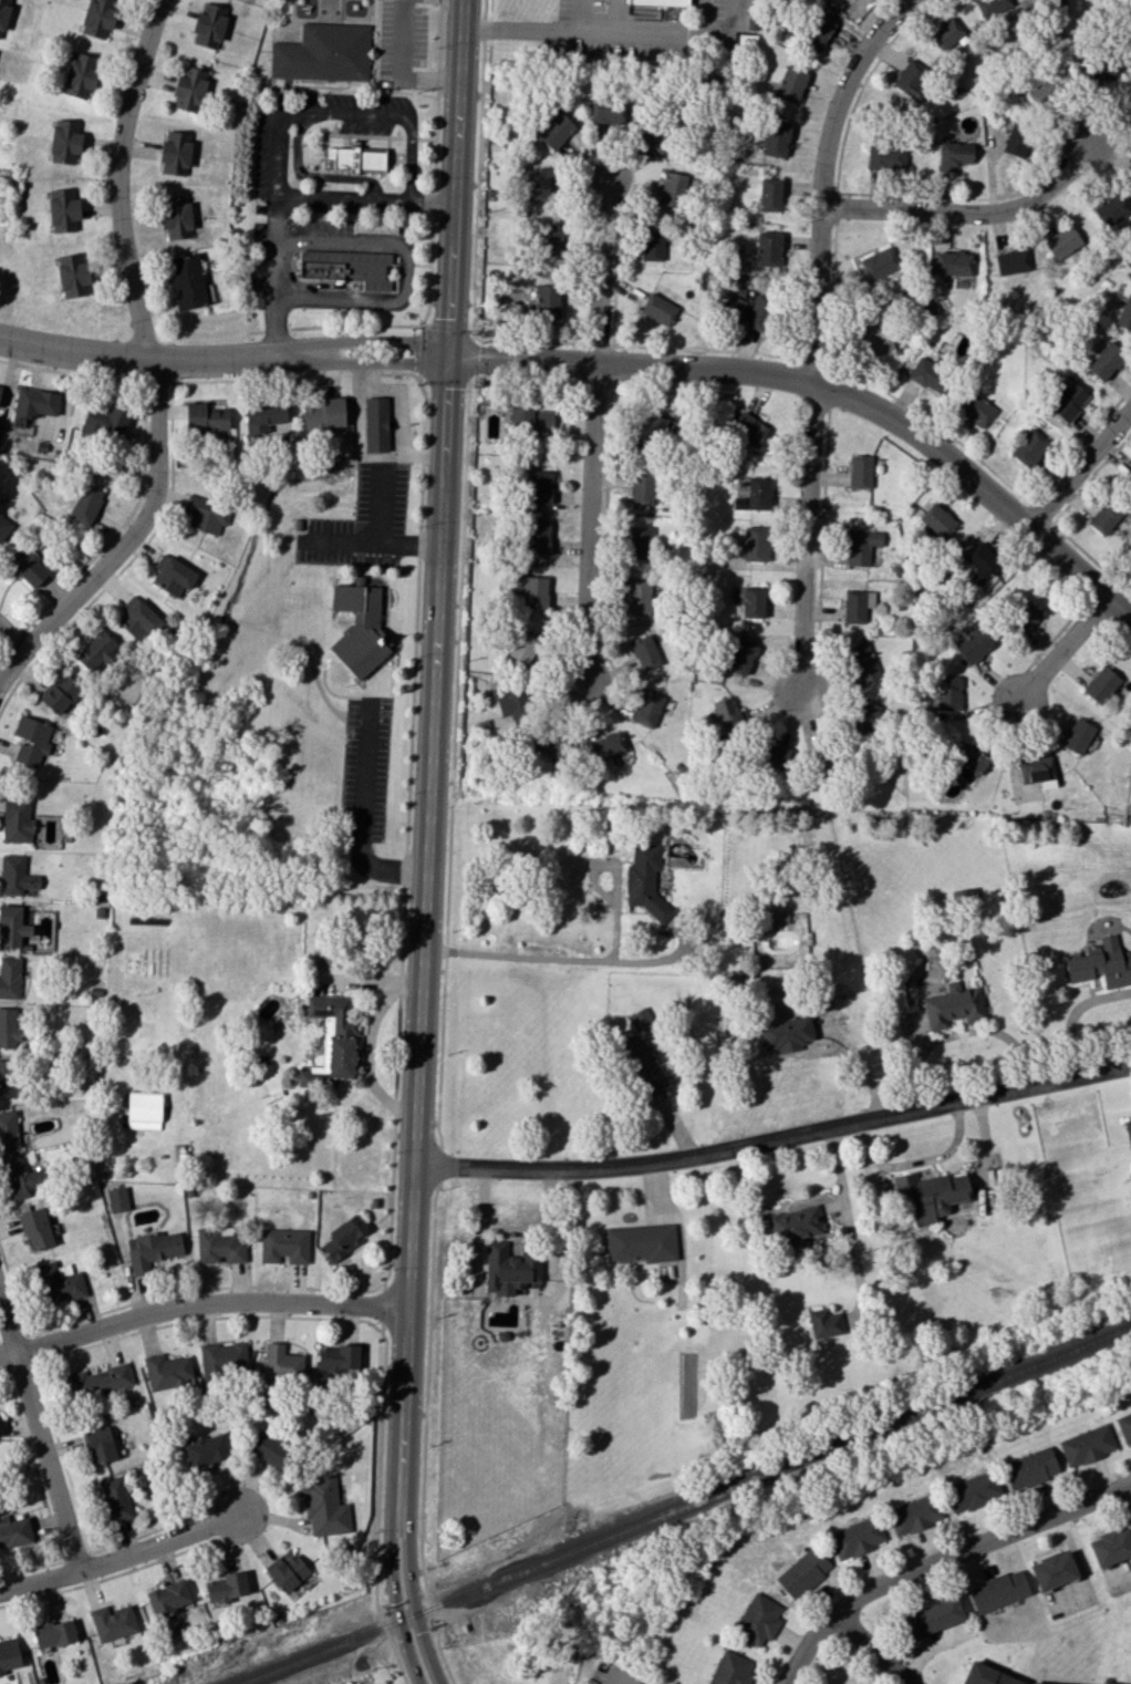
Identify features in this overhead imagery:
building: (660, 2)
road: (925, 2)
building: (996, 8)
building: (3, 13)
road: (583, 14)
building: (98, 18)
building: (209, 25)
road: (613, 31)
building: (817, 32)
building: (945, 33)
road: (438, 38)
building: (323, 53)
road: (400, 66)
building: (1100, 74)
building: (80, 75)
building: (909, 76)
building: (790, 84)
building: (189, 89)
building: (1042, 92)
building: (1129, 99)
building: (606, 111)
road: (347, 113)
building: (554, 130)
building: (654, 135)
road: (369, 137)
building: (776, 138)
building: (1016, 140)
building: (65, 141)
road: (434, 142)
building: (175, 153)
building: (886, 155)
building: (953, 156)
building: (354, 157)
parking lot: (272, 158)
road: (311, 176)
building: (536, 185)
building: (677, 188)
road: (844, 193)
building: (770, 194)
road: (288, 200)
road: (838, 206)
road: (433, 207)
building: (1111, 209)
building: (63, 210)
road: (969, 210)
building: (175, 216)
building: (374, 227)
building: (550, 240)
building: (1062, 241)
building: (652, 244)
building: (767, 248)
building: (1010, 261)
building: (953, 262)
building: (880, 264)
road: (423, 268)
building: (345, 269)
building: (72, 275)
road: (408, 275)
road: (429, 278)
building: (186, 281)
building: (547, 300)
building: (658, 308)
building: (734, 309)
building: (1124, 312)
building: (761, 313)
road: (363, 327)
road: (814, 332)
road: (461, 335)
building: (872, 337)
road: (539, 344)
road: (603, 347)
road: (625, 348)
road: (428, 354)
road: (224, 357)
road: (155, 361)
building: (1106, 361)
road: (816, 364)
road: (613, 366)
road: (72, 373)
building: (927, 374)
road: (158, 382)
road: (829, 386)
building: (0, 388)
road: (830, 391)
road: (433, 393)
building: (1067, 401)
building: (34, 402)
building: (975, 409)
building: (324, 413)
building: (205, 417)
building: (264, 417)
building: (531, 417)
building: (105, 421)
building: (375, 424)
building: (651, 427)
road: (941, 427)
building: (748, 428)
road: (591, 433)
building: (1028, 447)
road: (1078, 466)
building: (862, 469)
road: (173, 475)
building: (1129, 475)
building: (537, 486)
building: (641, 487)
building: (755, 494)
road: (424, 496)
building: (85, 504)
building: (206, 514)
building: (1104, 516)
road: (1059, 519)
building: (936, 520)
parking lot: (363, 523)
road: (126, 524)
building: (3, 526)
road: (608, 526)
building: (537, 538)
building: (639, 541)
building: (755, 544)
road: (421, 545)
road: (823, 546)
building: (860, 546)
building: (982, 565)
building: (29, 566)
road: (351, 566)
building: (173, 575)
road: (370, 578)
road: (1098, 588)
road: (333, 592)
building: (535, 592)
building: (636, 596)
building: (753, 601)
road: (387, 603)
building: (857, 605)
building: (1023, 617)
building: (137, 618)
building: (360, 630)
road: (9, 638)
road: (1056, 638)
road: (13, 643)
building: (973, 643)
building: (521, 645)
road: (1063, 648)
building: (95, 651)
building: (645, 652)
building: (740, 655)
road: (2, 659)
building: (861, 662)
building: (1100, 684)
road: (415, 689)
building: (948, 692)
building: (60, 693)
road: (378, 699)
building: (511, 703)
building: (646, 707)
building: (728, 712)
building: (868, 716)
building: (1077, 735)
building: (31, 740)
building: (552, 745)
building: (606, 746)
building: (772, 755)
building: (967, 760)
parking lot: (365, 767)
building: (1037, 771)
road: (361, 812)
building: (15, 818)
road: (428, 844)
building: (15, 876)
building: (643, 878)
building: (777, 921)
building: (12, 926)
road: (602, 955)
building: (1101, 964)
building: (9, 977)
road: (375, 981)
building: (952, 1005)
road: (1073, 1013)
building: (641, 1020)
building: (9, 1027)
road: (961, 1033)
building: (786, 1034)
road: (369, 1057)
road: (861, 1058)
building: (640, 1064)
building: (10, 1081)
building: (143, 1110)
building: (1128, 1129)
building: (8, 1132)
road: (775, 1136)
road: (439, 1166)
building: (21, 1178)
building: (928, 1195)
building: (115, 1199)
building: (793, 1225)
building: (35, 1229)
road: (511, 1230)
building: (343, 1237)
building: (640, 1242)
building: (283, 1244)
building: (218, 1246)
building: (153, 1250)
road: (476, 1252)
building: (509, 1269)
building: (58, 1282)
road: (156, 1296)
road: (200, 1302)
road: (394, 1309)
building: (823, 1323)
road: (69, 1354)
building: (338, 1357)
building: (222, 1358)
road: (34, 1362)
building: (282, 1363)
building: (167, 1371)
building: (97, 1381)
building: (1124, 1426)
road: (425, 1435)
road: (39, 1438)
building: (97, 1445)
building: (1087, 1445)
building: (206, 1449)
building: (270, 1449)
building: (1030, 1468)
building: (972, 1490)
road: (44, 1497)
building: (115, 1498)
building: (323, 1505)
railway: (682, 1507)
building: (914, 1513)
building: (14, 1531)
building: (859, 1537)
building: (1110, 1546)
road: (122, 1557)
road: (937, 1559)
road: (62, 1561)
road: (95, 1568)
building: (1052, 1570)
building: (289, 1572)
building: (802, 1572)
road: (111, 1578)
building: (226, 1588)
building: (997, 1591)
building: (168, 1597)
building: (934, 1615)
building: (758, 1619)
building: (112, 1622)
building: (54, 1633)
road: (873, 1647)
building: (9, 1654)
park: (355, 1662)
building: (730, 1668)
building: (0, 1672)
building: (986, 1675)
road: (614, 1680)
building: (1035, 1683)
building: (1107, 1683)

